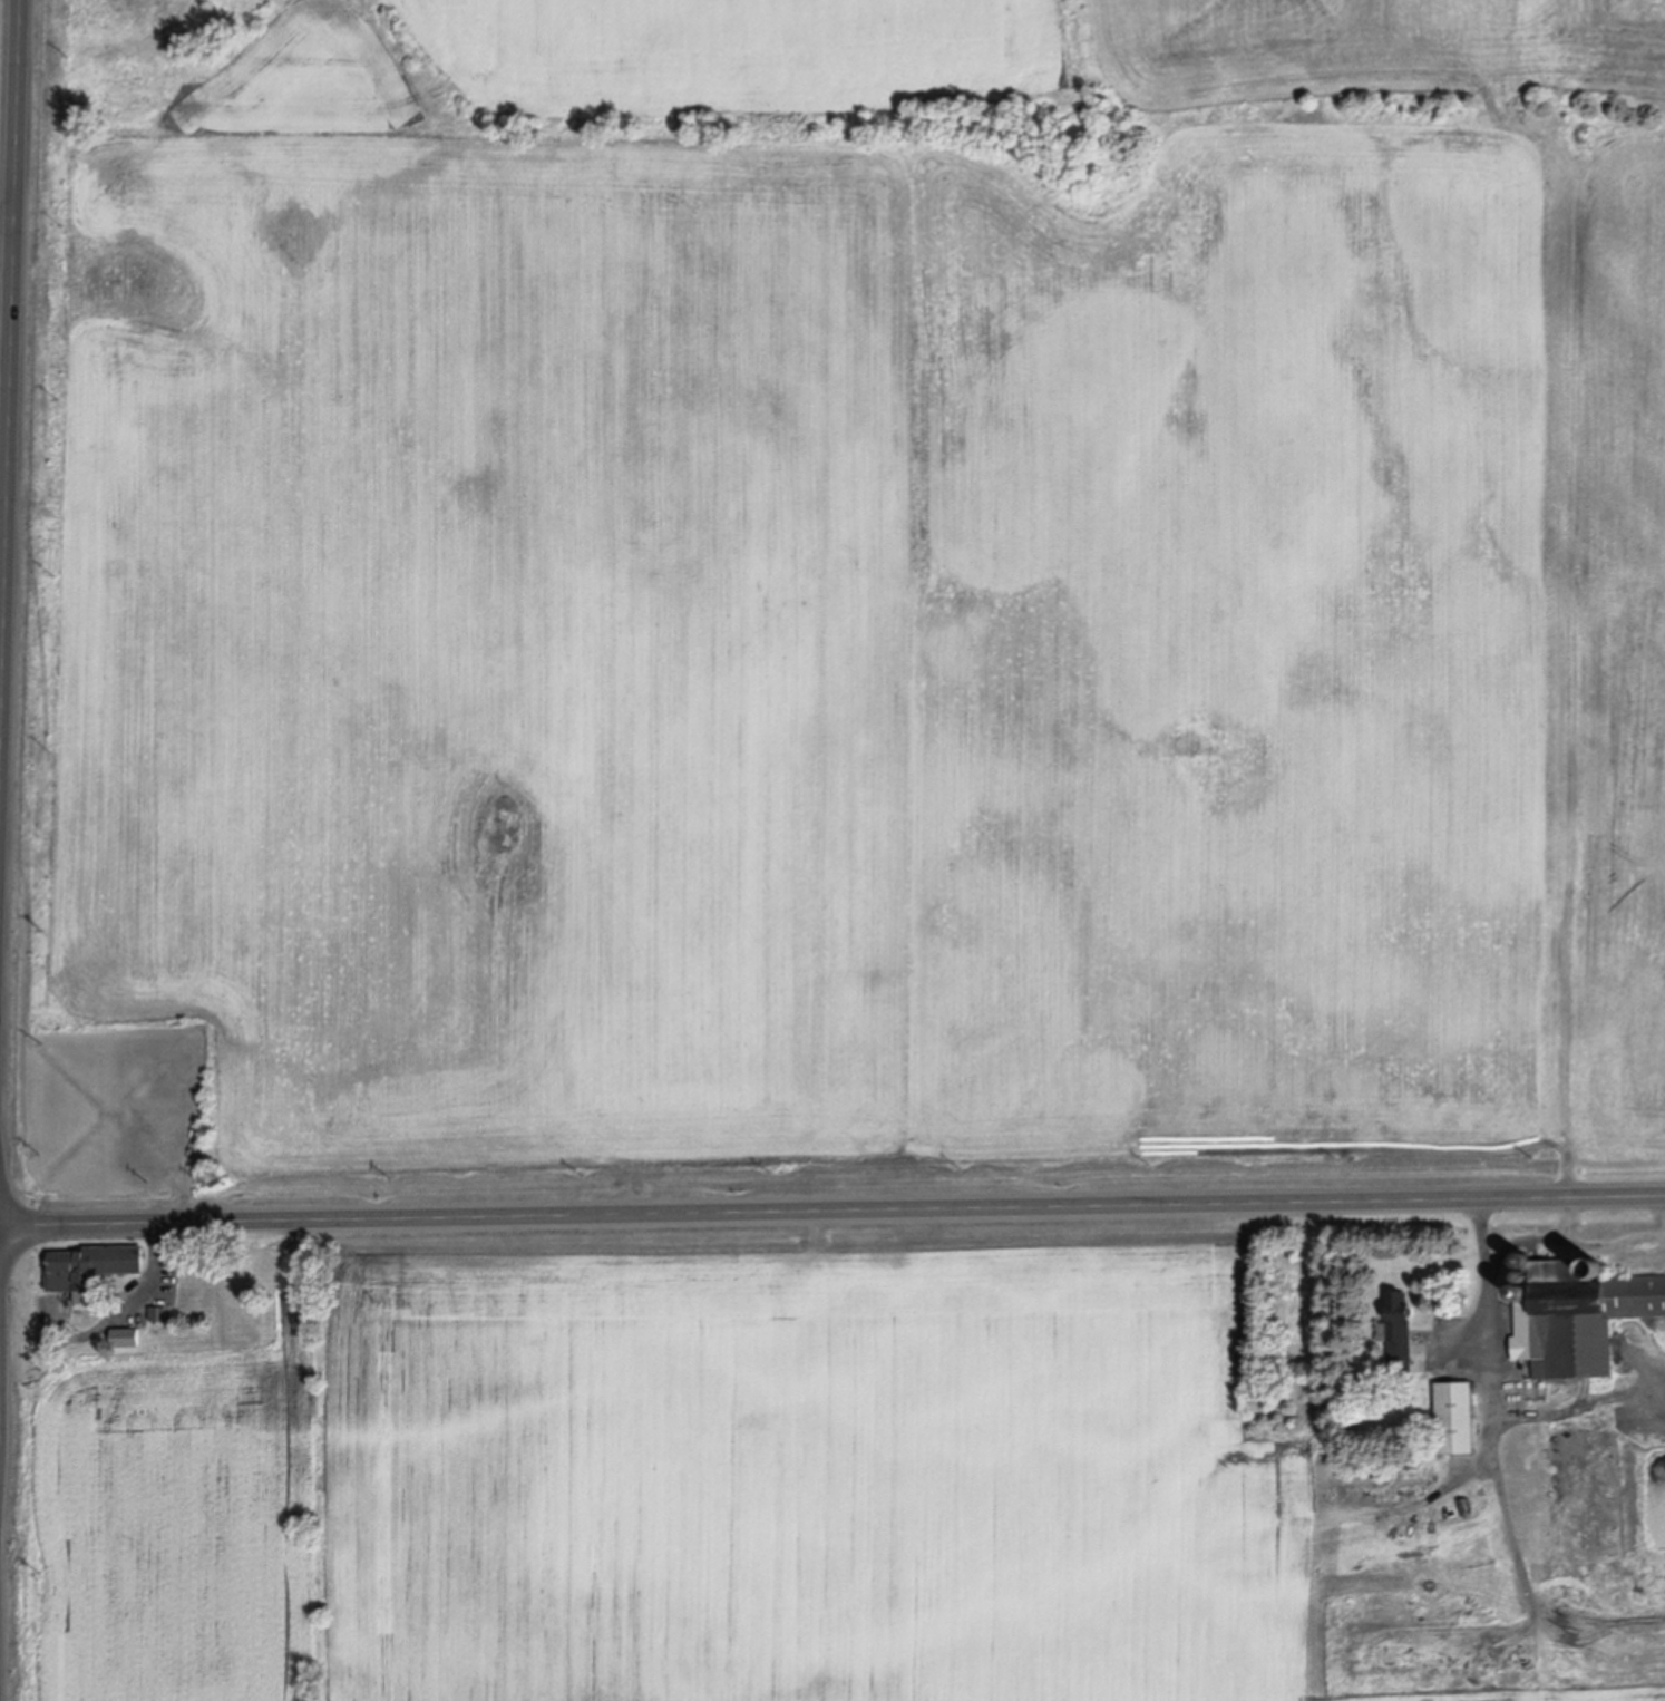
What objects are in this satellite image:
road: (7, 217)
road: (9, 417)
road: (831, 1209)
building: (91, 1269)
building: (1522, 1275)
building: (1520, 1292)
road: (1490, 1312)
building: (158, 1313)
building: (1578, 1315)
building: (1399, 1333)
building: (127, 1338)
building: (1455, 1418)
building: (1416, 1464)
building: (1467, 1506)

